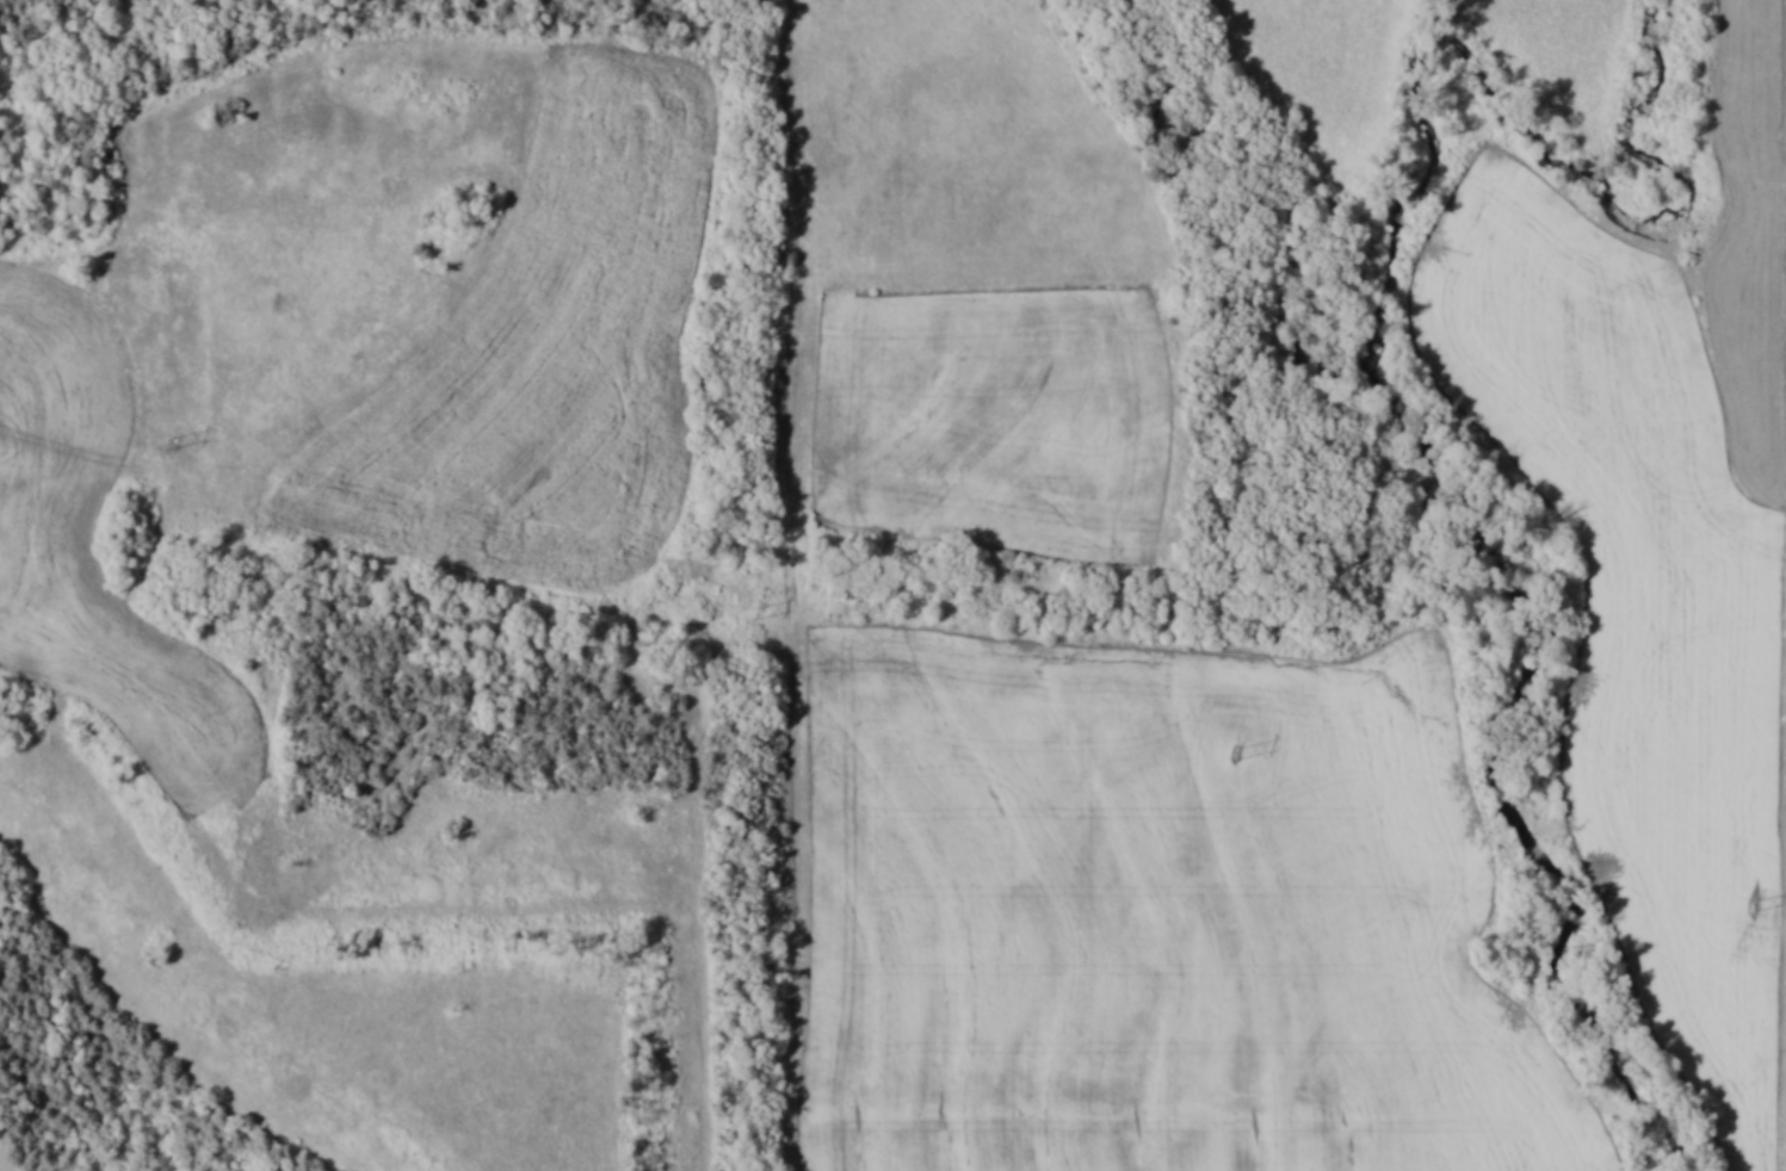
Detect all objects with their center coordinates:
power tower: (171, 441)
power tower: (748, 611)
power tower: (1234, 752)
power tower: (1751, 905)

